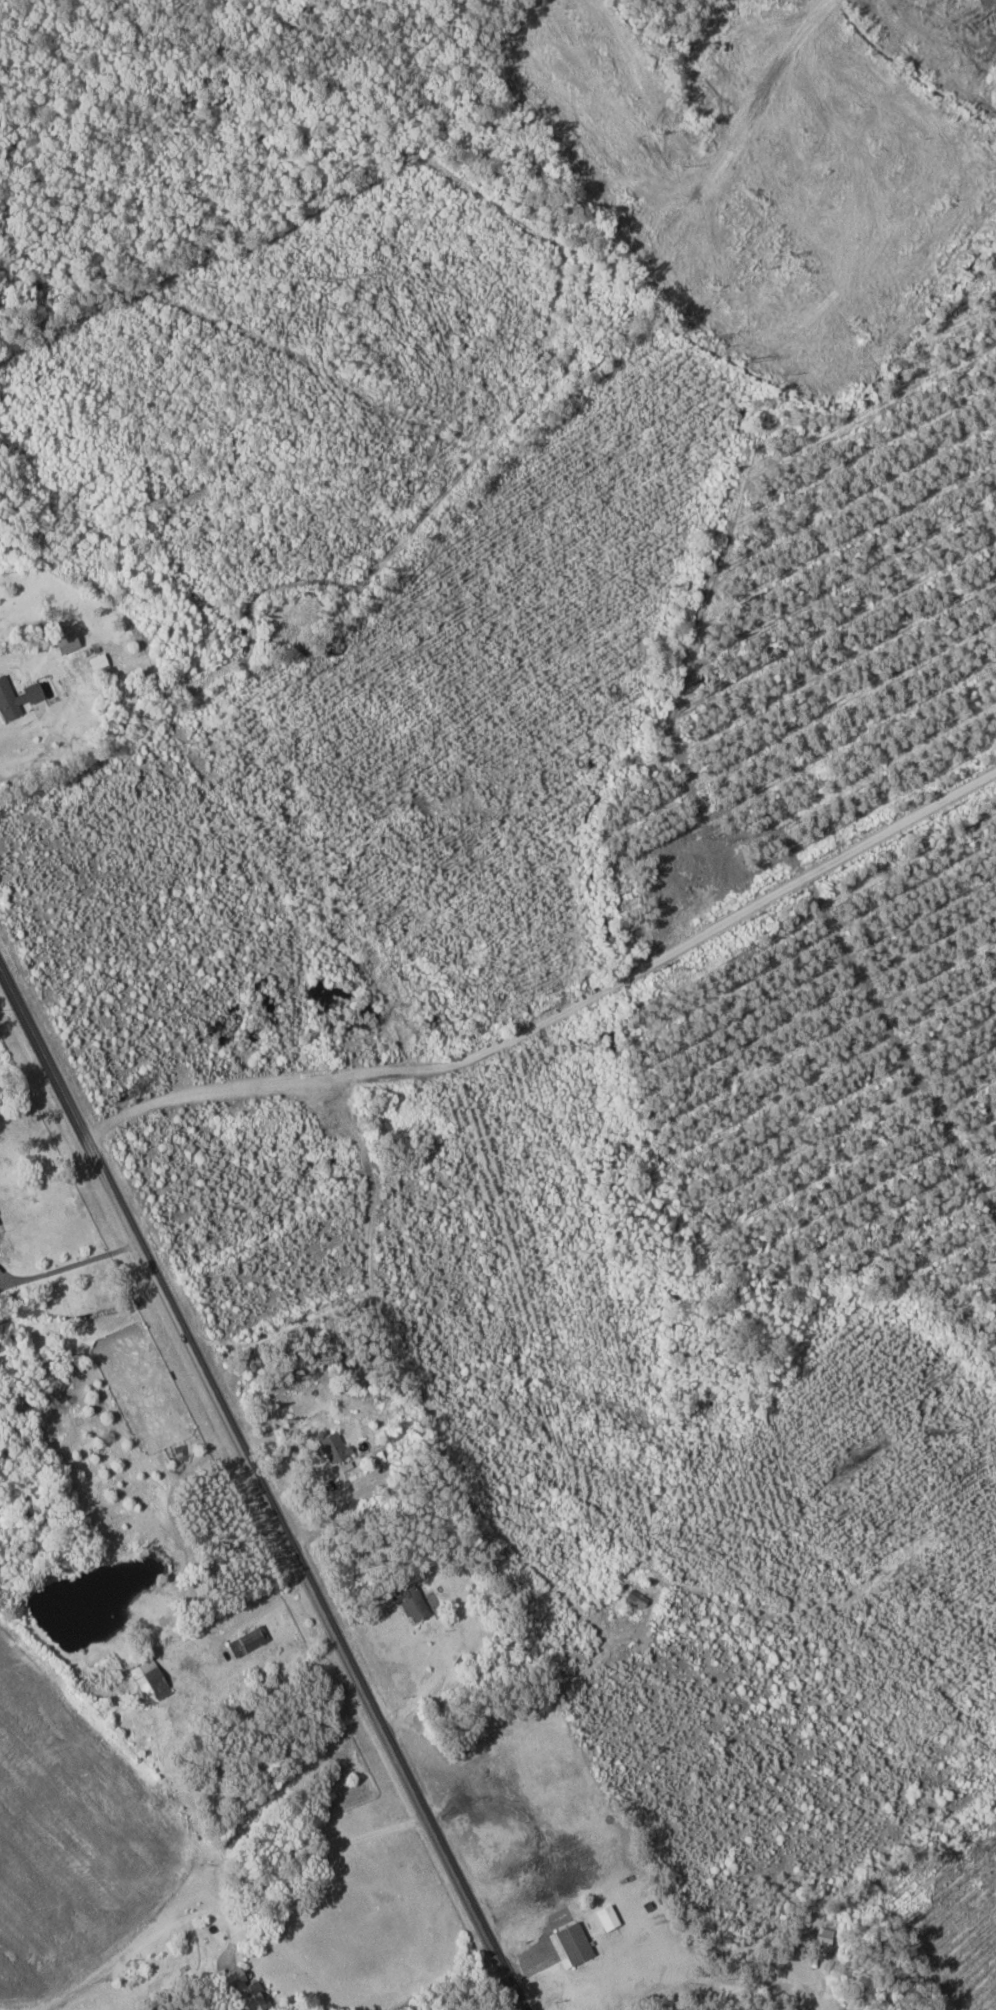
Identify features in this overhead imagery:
building: (68, 641)
building: (34, 691)
building: (8, 699)
building: (333, 1448)
building: (176, 1457)
road: (263, 1486)
building: (413, 1603)
building: (247, 1641)
building: (150, 1678)
building: (574, 1943)
building: (246, 1990)

